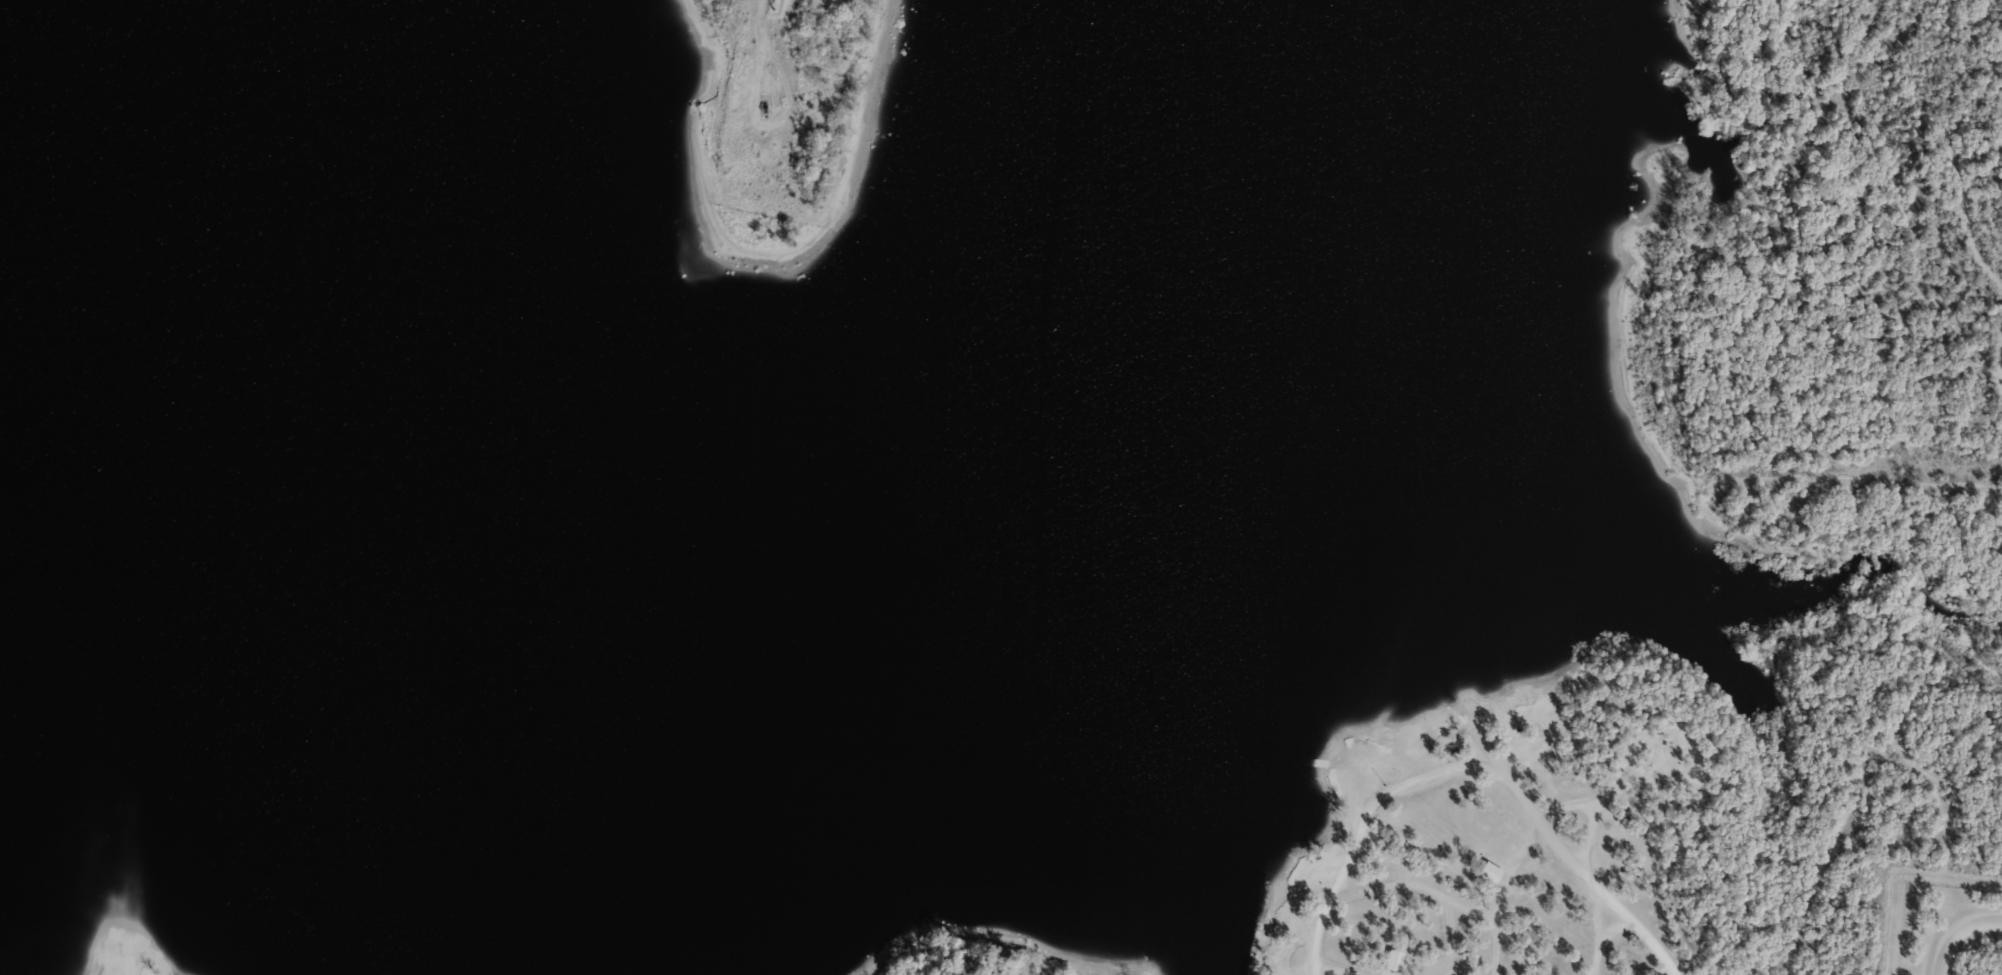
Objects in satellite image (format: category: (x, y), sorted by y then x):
road: (1954, 167)
road: (1998, 360)
road: (1909, 488)
park: (1747, 562)
road: (1466, 775)
road: (1856, 793)
building: (1490, 871)
road: (1427, 891)
road: (1595, 932)
road: (1956, 933)
park: (133, 944)
park: (994, 954)
building: (1393, 959)
road: (135, 971)

